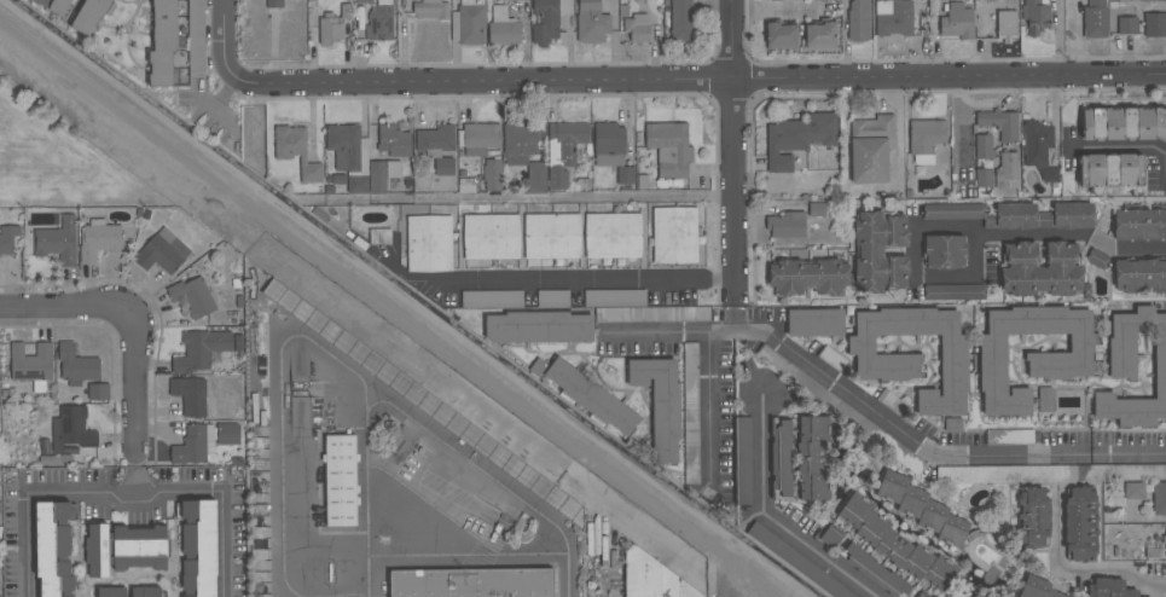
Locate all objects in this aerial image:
building: (520, 0)
building: (776, 0)
building: (823, 0)
building: (362, 1)
building: (824, 1)
building: (274, 4)
building: (58, 6)
building: (430, 10)
building: (89, 16)
building: (1036, 16)
building: (893, 18)
building: (680, 19)
building: (1095, 19)
building: (858, 21)
building: (545, 22)
building: (591, 22)
building: (957, 22)
building: (379, 23)
building: (468, 23)
building: (332, 24)
building: (1005, 25)
building: (1127, 25)
building: (1155, 25)
building: (503, 28)
building: (637, 28)
building: (819, 35)
building: (195, 36)
building: (781, 36)
building: (162, 44)
road: (224, 50)
road: (709, 81)
building: (1123, 123)
building: (1000, 124)
road: (897, 134)
building: (797, 138)
building: (478, 139)
road: (733, 139)
building: (926, 139)
building: (393, 141)
building: (609, 145)
building: (984, 146)
building: (436, 147)
building: (669, 147)
building: (870, 149)
building: (1038, 149)
road: (1119, 149)
building: (295, 151)
building: (563, 151)
building: (349, 156)
building: (524, 156)
building: (1007, 167)
building: (1110, 170)
building: (492, 174)
building: (382, 175)
building: (625, 175)
building: (984, 182)
road: (567, 197)
building: (817, 210)
building: (952, 211)
building: (1066, 216)
building: (1011, 218)
building: (787, 225)
building: (1139, 225)
road: (1075, 234)
building: (379, 236)
building: (551, 236)
building: (613, 236)
building: (674, 236)
building: (491, 237)
building: (7, 238)
building: (99, 239)
building: (57, 242)
building: (428, 243)
building: (944, 251)
building: (162, 253)
building: (880, 253)
building: (1098, 260)
road: (918, 267)
building: (1040, 269)
building: (1139, 276)
building: (808, 277)
road: (573, 279)
building: (953, 292)
building: (192, 297)
building: (552, 297)
building: (492, 300)
road: (735, 306)
road: (66, 308)
building: (814, 323)
building: (538, 328)
road: (324, 349)
building: (201, 350)
building: (1031, 353)
building: (913, 354)
building: (31, 365)
building: (76, 366)
building: (1133, 370)
road: (133, 386)
building: (690, 388)
building: (98, 393)
road: (852, 394)
building: (192, 396)
building: (591, 398)
building: (1045, 400)
building: (424, 401)
building: (660, 404)
road: (710, 408)
building: (70, 429)
building: (226, 434)
building: (195, 445)
road: (1129, 451)
building: (812, 458)
building: (779, 459)
building: (1139, 473)
road: (134, 477)
building: (690, 477)
building: (341, 481)
road: (369, 489)
building: (1133, 492)
road: (126, 493)
building: (1159, 499)
building: (922, 509)
building: (0, 514)
road: (770, 514)
building: (1033, 518)
building: (1080, 524)
building: (1165, 537)
road: (225, 544)
road: (28, 545)
building: (895, 545)
building: (199, 546)
building: (53, 549)
building: (124, 549)
road: (469, 552)
building: (797, 562)
building: (874, 570)
road: (1077, 570)
building: (651, 578)
building: (471, 582)
building: (1037, 589)
building: (1109, 589)
building: (111, 592)
building: (145, 592)
building: (920, 596)

